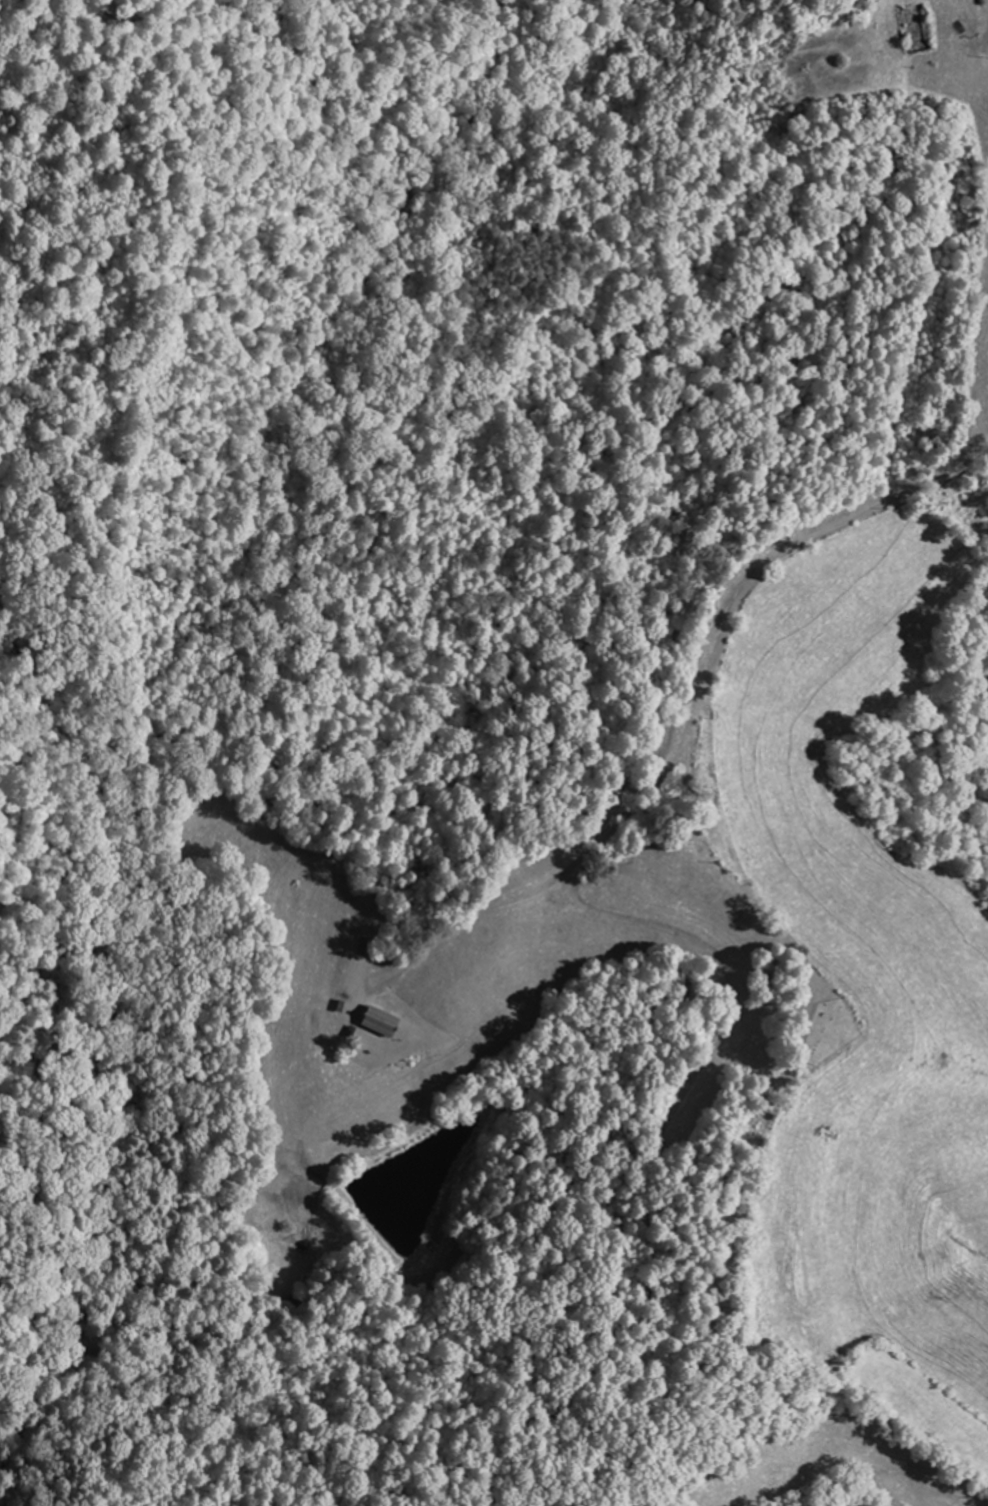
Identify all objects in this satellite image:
building: (914, 29)
road: (690, 728)
building: (375, 1022)

